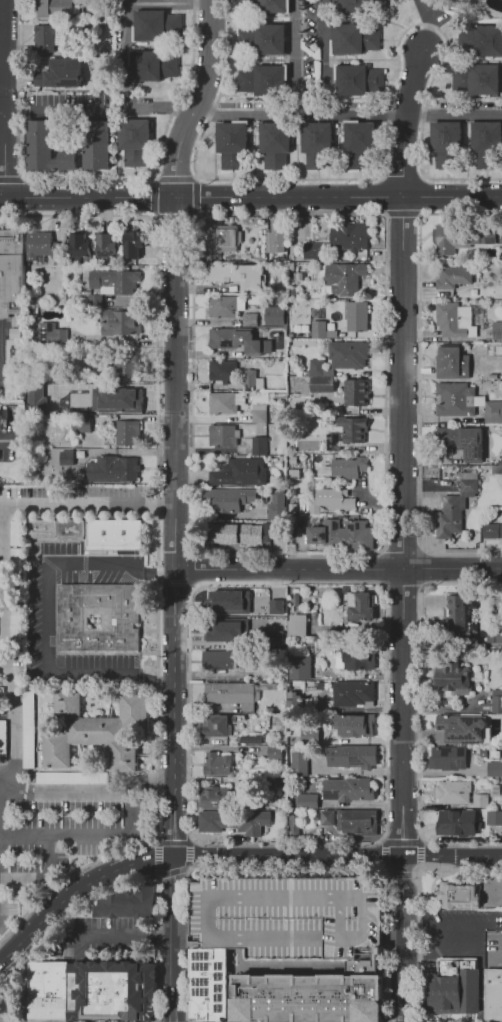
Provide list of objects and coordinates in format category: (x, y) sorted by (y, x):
building: (261, 5)
building: (360, 5)
building: (40, 9)
building: (155, 25)
building: (44, 38)
building: (352, 38)
building: (262, 39)
building: (479, 41)
road: (293, 57)
road: (323, 57)
building: (150, 64)
building: (61, 73)
building: (355, 79)
building: (262, 80)
building: (478, 80)
road: (2, 98)
road: (160, 108)
road: (51, 113)
road: (303, 114)
road: (457, 115)
building: (444, 141)
building: (274, 142)
building: (486, 142)
building: (134, 143)
building: (231, 143)
building: (316, 143)
building: (357, 143)
building: (97, 144)
building: (47, 148)
road: (250, 197)
building: (276, 236)
building: (486, 236)
building: (351, 237)
building: (225, 239)
building: (446, 239)
building: (134, 244)
building: (39, 246)
building: (79, 247)
building: (108, 247)
building: (312, 251)
building: (12, 274)
building: (236, 276)
building: (453, 276)
building: (344, 278)
building: (108, 280)
building: (93, 300)
building: (226, 307)
road: (405, 308)
building: (274, 316)
building: (357, 317)
building: (249, 319)
building: (449, 321)
building: (124, 322)
building: (497, 329)
building: (321, 330)
building: (59, 333)
building: (13, 334)
building: (226, 338)
building: (348, 355)
building: (126, 364)
building: (449, 364)
building: (319, 367)
building: (222, 370)
building: (249, 380)
building: (106, 388)
building: (322, 389)
building: (356, 392)
building: (55, 394)
building: (35, 396)
building: (455, 398)
building: (116, 399)
building: (221, 403)
road: (178, 410)
building: (258, 412)
building: (494, 412)
building: (0, 421)
building: (78, 423)
road: (11, 429)
building: (353, 429)
building: (129, 433)
building: (223, 435)
building: (467, 443)
building: (259, 445)
building: (4, 452)
building: (61, 459)
building: (497, 468)
building: (110, 469)
building: (345, 469)
building: (237, 472)
building: (230, 500)
building: (330, 501)
building: (276, 503)
building: (457, 504)
road: (89, 507)
building: (55, 529)
building: (492, 530)
building: (14, 532)
building: (114, 533)
building: (231, 534)
building: (344, 535)
road: (156, 547)
building: (14, 560)
road: (340, 568)
road: (190, 587)
building: (210, 601)
building: (229, 601)
building: (430, 603)
building: (275, 606)
building: (358, 606)
building: (10, 614)
building: (99, 617)
building: (456, 617)
road: (50, 622)
building: (296, 626)
building: (226, 630)
building: (275, 638)
building: (495, 638)
road: (2, 648)
building: (218, 659)
building: (360, 661)
building: (298, 666)
building: (494, 676)
building: (453, 684)
building: (353, 693)
building: (231, 694)
building: (496, 705)
road: (402, 712)
building: (354, 725)
building: (214, 726)
building: (462, 726)
building: (93, 728)
building: (28, 729)
building: (308, 735)
building: (252, 737)
building: (3, 738)
building: (273, 754)
building: (356, 755)
building: (449, 758)
building: (214, 763)
building: (298, 763)
building: (494, 769)
building: (71, 777)
building: (349, 789)
building: (453, 793)
road: (85, 795)
building: (211, 798)
building: (306, 800)
building: (480, 801)
building: (328, 818)
building: (494, 819)
building: (234, 820)
building: (359, 821)
building: (456, 822)
building: (292, 824)
road: (85, 834)
road: (173, 841)
road: (189, 841)
road: (382, 841)
road: (420, 841)
road: (403, 843)
road: (184, 844)
parking lot: (56, 846)
road: (287, 856)
road: (452, 856)
road: (183, 869)
road: (288, 869)
road: (404, 874)
road: (135, 881)
road: (79, 894)
building: (460, 895)
road: (298, 898)
building: (128, 903)
road: (417, 903)
building: (288, 915)
parking lot: (288, 915)
road: (124, 932)
road: (171, 938)
road: (403, 938)
road: (237, 967)
road: (321, 968)
building: (208, 984)
building: (47, 991)
building: (113, 991)
building: (456, 991)
building: (494, 994)
building: (309, 997)
road: (11, 1020)
flagpole: (463, 1020)

